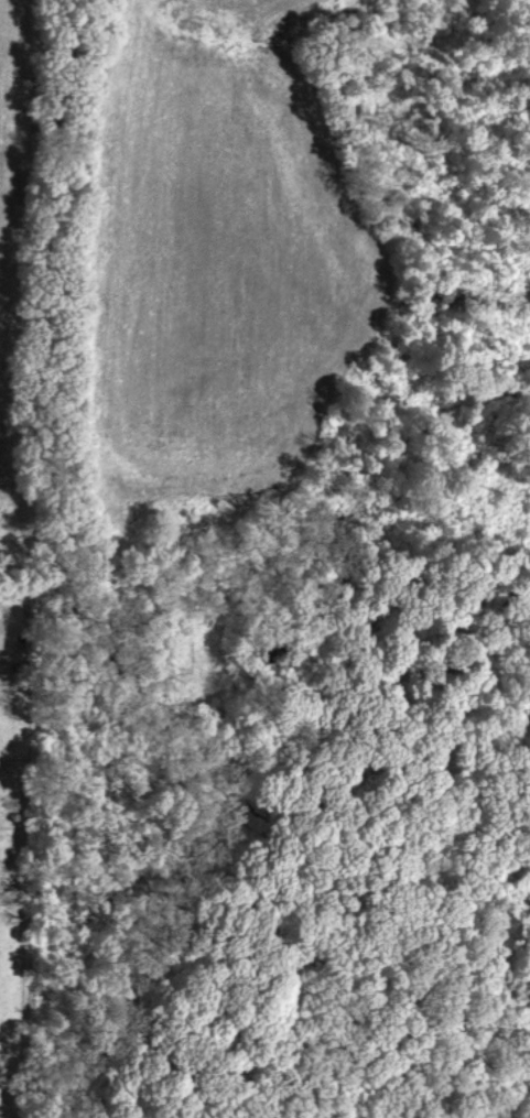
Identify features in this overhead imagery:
building: (0, 637)

